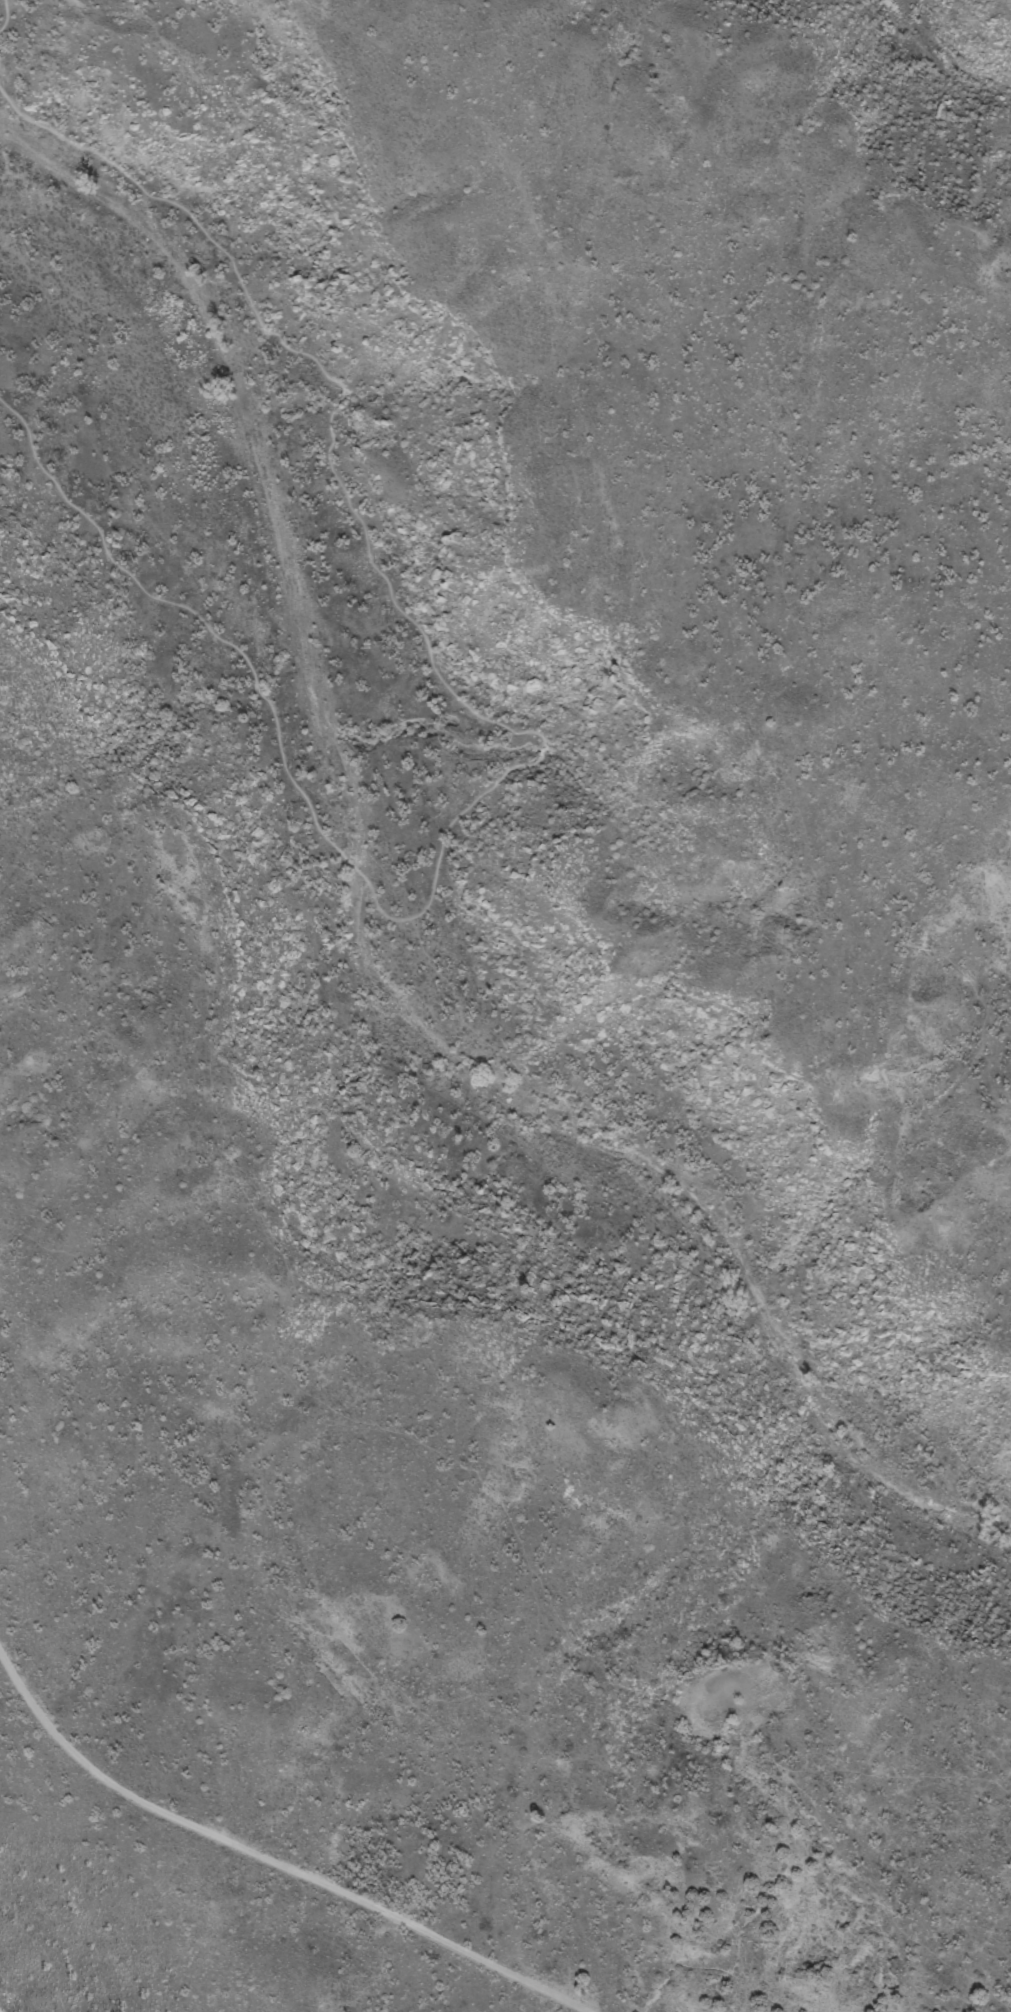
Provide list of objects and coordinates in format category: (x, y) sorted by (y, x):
road: (245, 1886)

